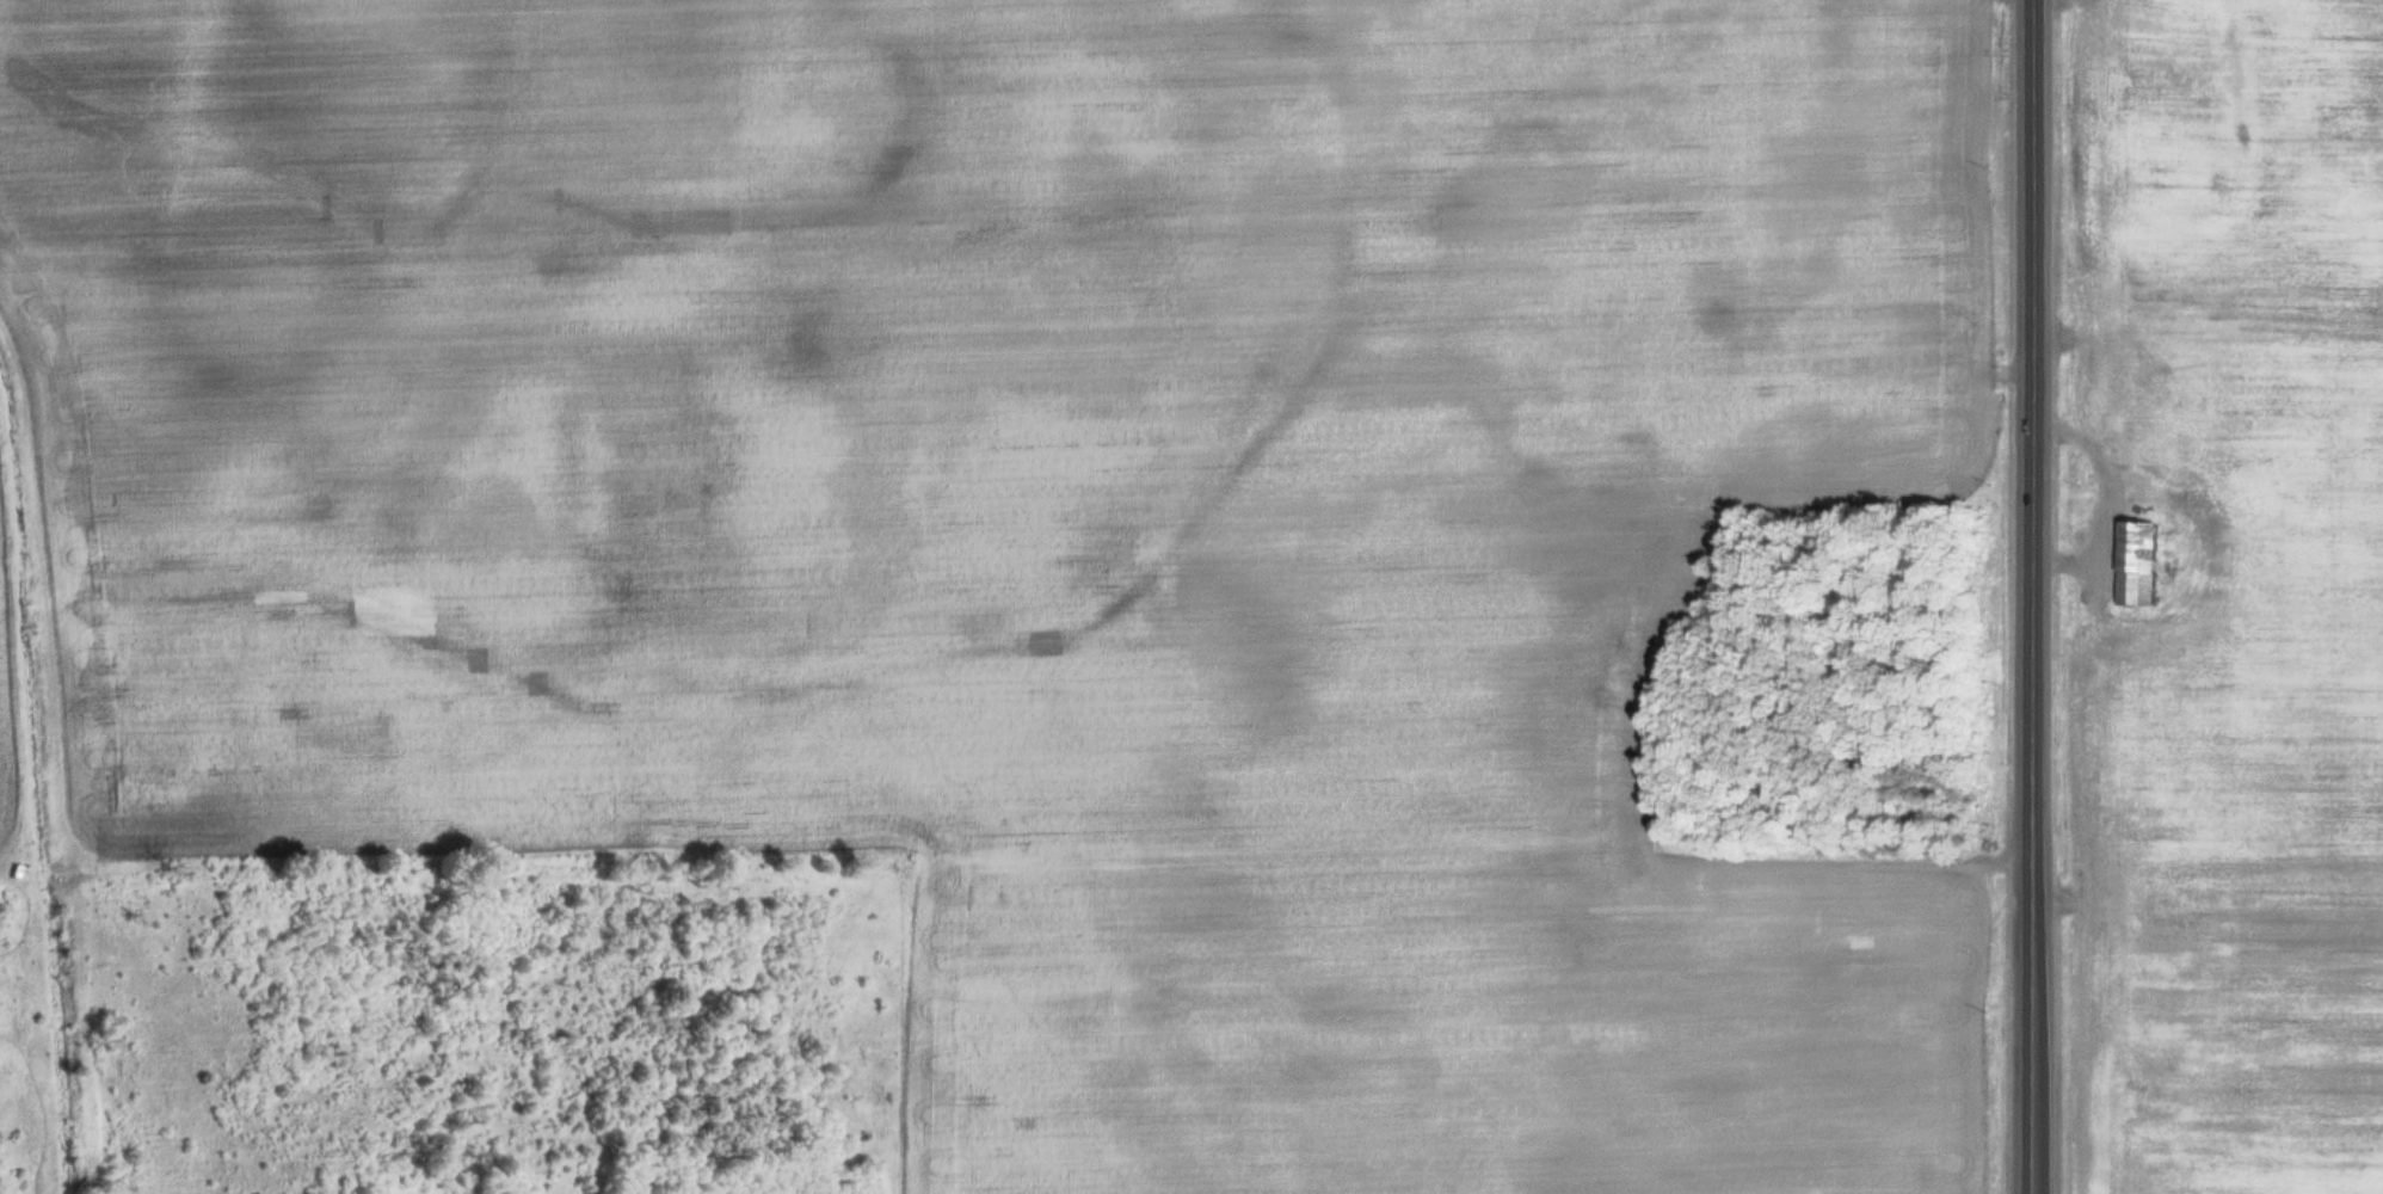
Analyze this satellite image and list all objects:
building: (2125, 396)
building: (2132, 562)
road: (2032, 597)

